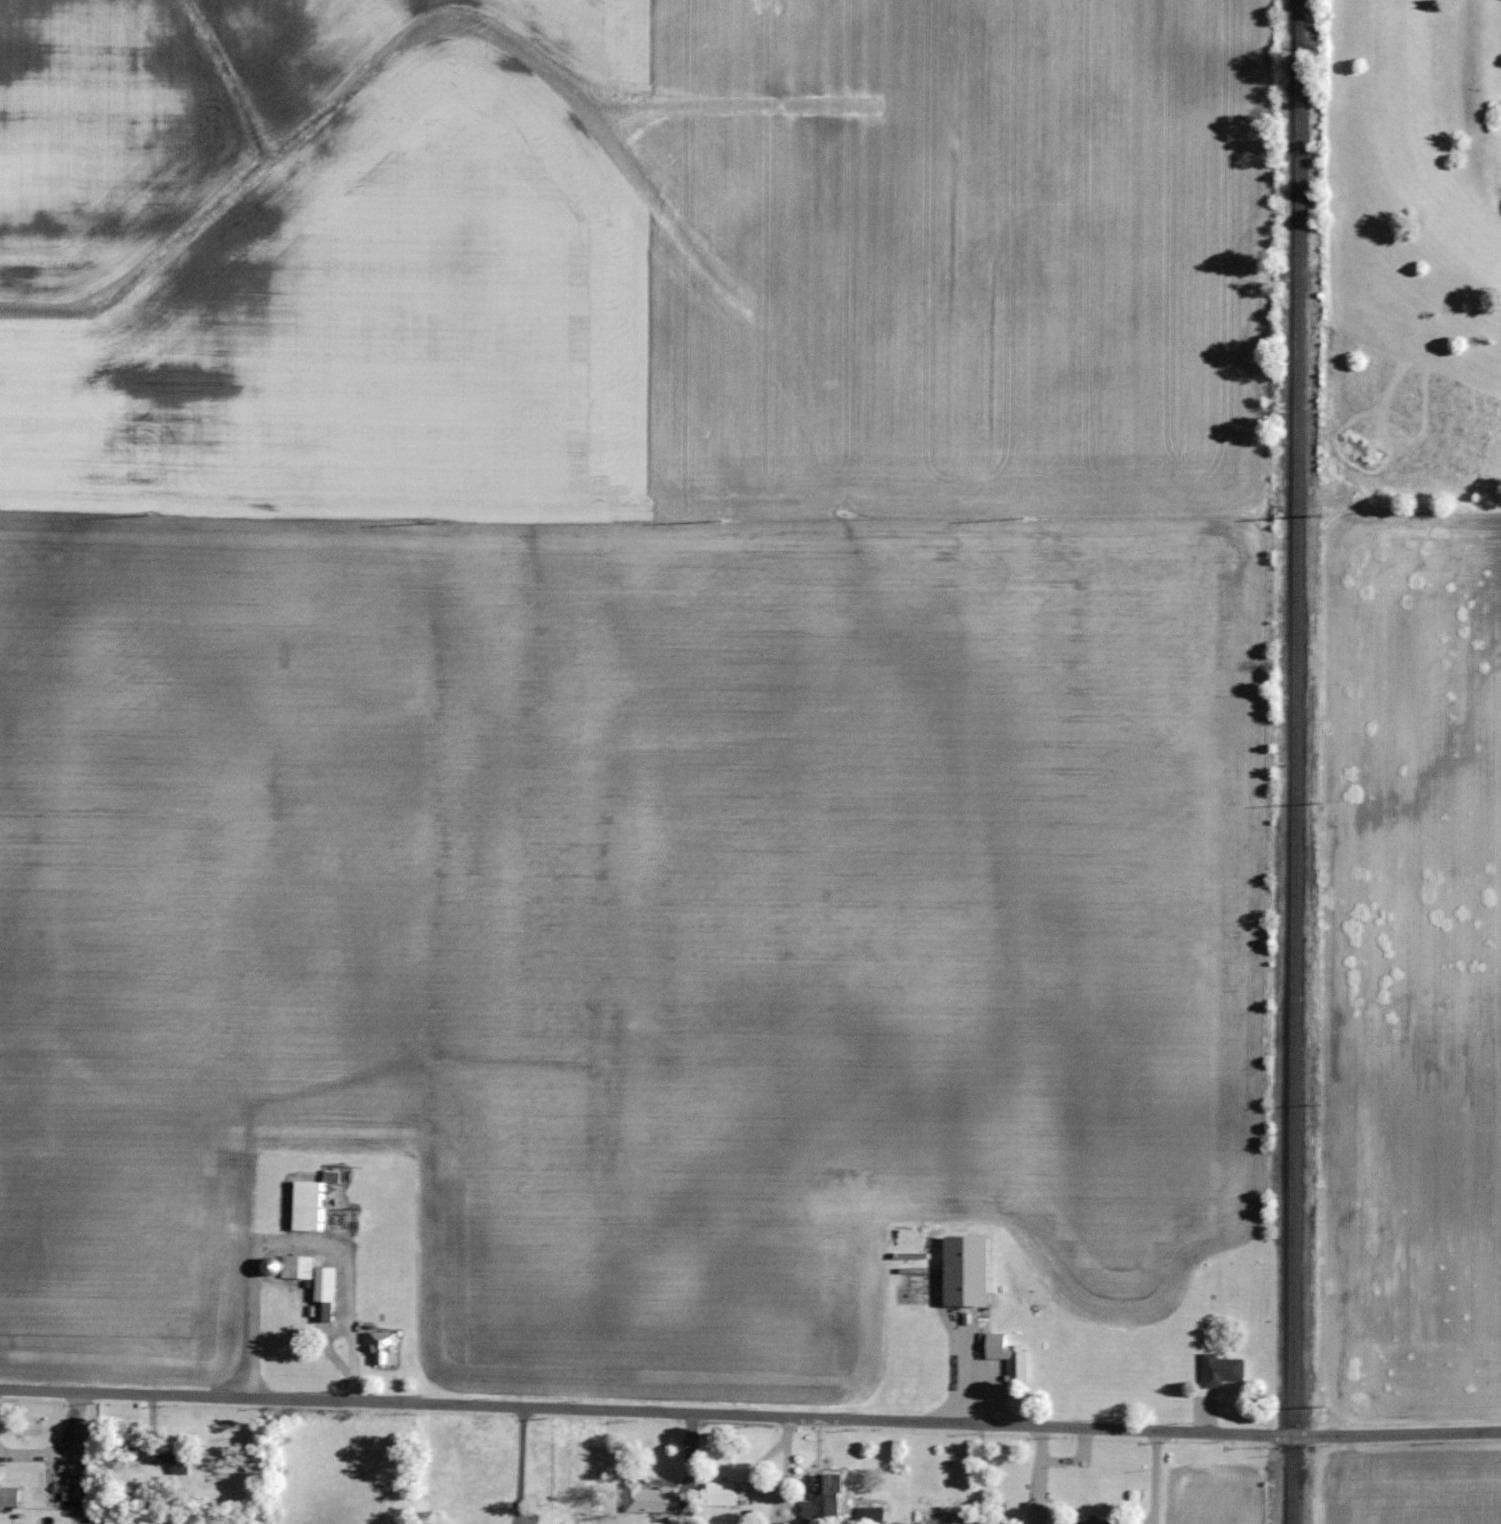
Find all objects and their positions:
railway: (1294, 761)
building: (334, 1175)
building: (309, 1205)
road: (307, 1252)
building: (292, 1267)
building: (919, 1290)
building: (327, 1293)
building: (385, 1345)
building: (1019, 1363)
building: (1225, 1369)
road: (0, 1406)
road: (750, 1414)
building: (132, 1446)
road: (66, 1454)
building: (183, 1463)
road: (526, 1465)
building: (724, 1493)
building: (828, 1496)
building: (11, 1497)
building: (654, 1499)
building: (1042, 1513)
building: (872, 1514)
building: (788, 1523)

